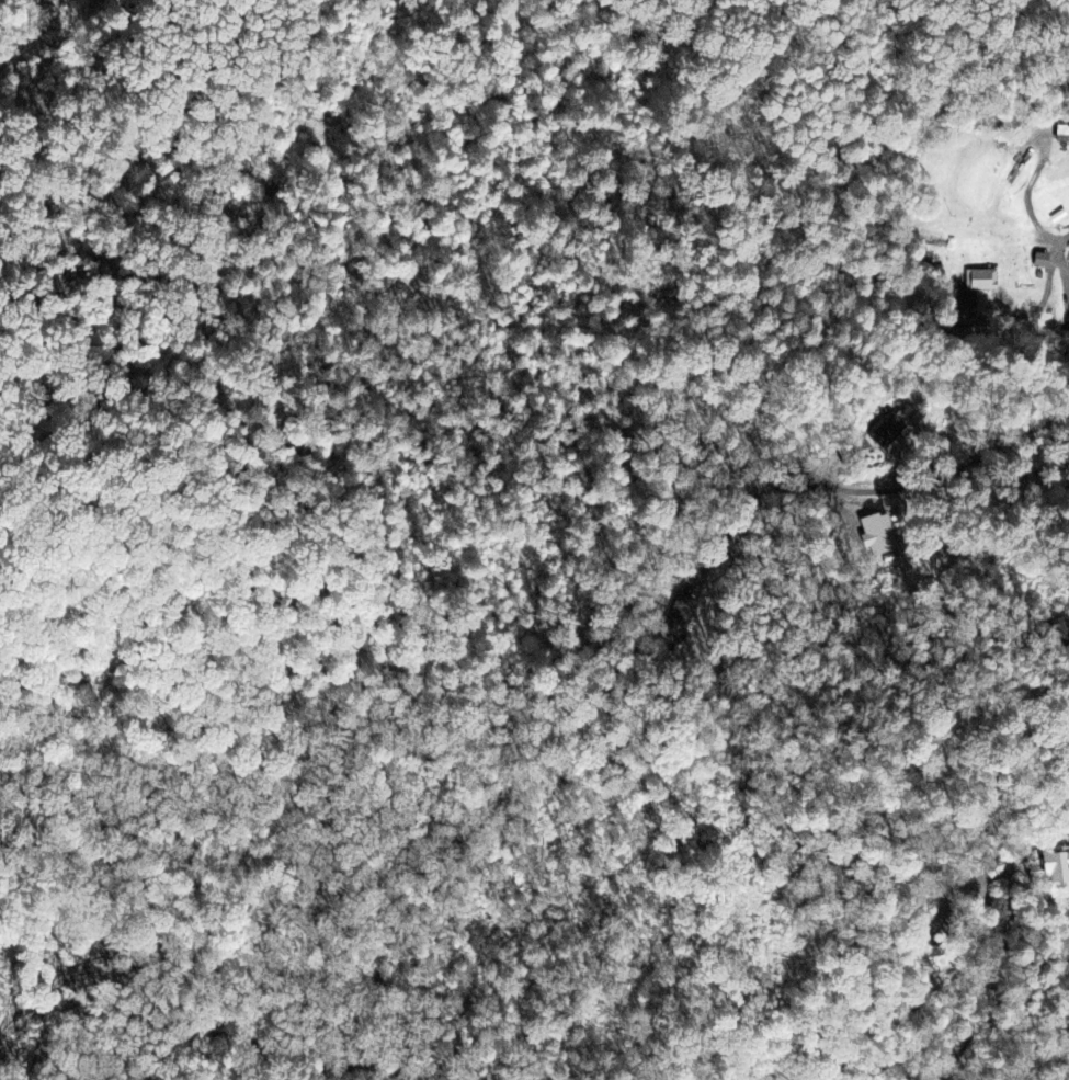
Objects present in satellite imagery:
road: (1062, 238)
road: (991, 984)
road: (263, 1053)

